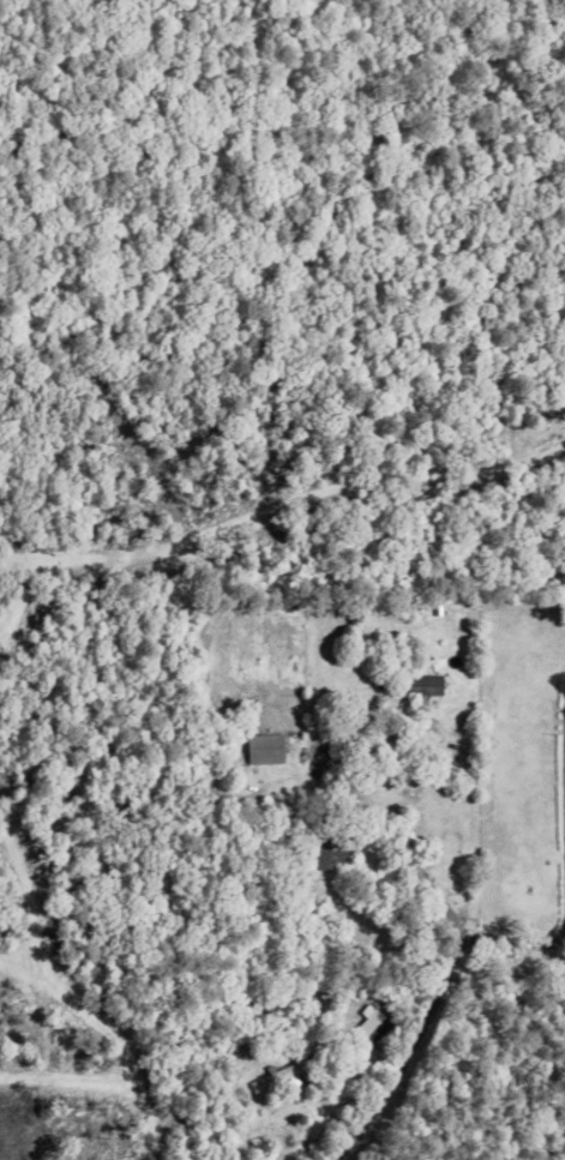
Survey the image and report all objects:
building: (420, 685)
building: (260, 744)
building: (333, 762)
road: (464, 811)
building: (325, 848)
road: (560, 855)
road: (563, 858)
road: (449, 972)
building: (356, 1024)
building: (274, 1074)
building: (205, 1123)

